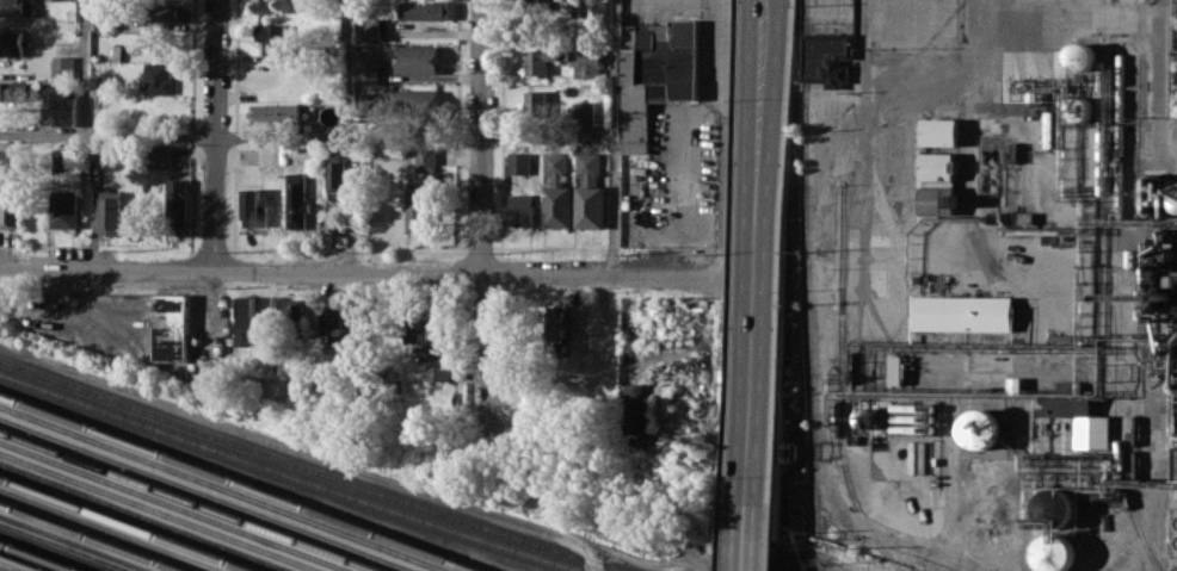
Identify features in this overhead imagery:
building: (535, 0)
building: (12, 7)
building: (29, 7)
road: (876, 8)
building: (425, 10)
building: (593, 10)
building: (99, 17)
building: (366, 29)
building: (272, 38)
building: (11, 43)
building: (1079, 56)
building: (821, 57)
building: (417, 58)
building: (660, 58)
building: (541, 60)
building: (586, 63)
building: (366, 64)
building: (62, 67)
road: (82, 68)
road: (347, 68)
building: (158, 77)
building: (14, 89)
building: (370, 100)
building: (415, 100)
building: (535, 100)
building: (60, 106)
road: (759, 107)
building: (580, 111)
building: (276, 113)
building: (937, 131)
road: (214, 135)
road: (480, 136)
road: (307, 137)
road: (614, 138)
road: (722, 139)
building: (1173, 141)
building: (161, 155)
building: (4, 159)
building: (63, 159)
building: (517, 162)
building: (935, 166)
building: (334, 176)
building: (295, 191)
building: (555, 192)
building: (587, 192)
railway: (1117, 197)
building: (932, 198)
building: (178, 203)
building: (10, 204)
building: (252, 206)
building: (419, 207)
building: (64, 209)
building: (518, 209)
building: (110, 212)
road: (362, 272)
railway: (1136, 287)
railway: (1110, 290)
building: (277, 304)
building: (295, 305)
building: (957, 311)
building: (356, 315)
building: (245, 322)
building: (556, 325)
building: (171, 327)
building: (413, 328)
building: (333, 329)
building: (438, 343)
railway: (839, 386)
road: (756, 392)
building: (1080, 405)
building: (637, 422)
building: (980, 429)
building: (1091, 430)
railway: (312, 468)
railway: (292, 474)
railway: (240, 482)
railway: (218, 490)
railway: (207, 494)
railway: (193, 499)
railway: (179, 505)
railway: (161, 511)
railway: (147, 516)
railway: (130, 522)
railway: (111, 529)
railway: (93, 536)
railway: (74, 542)
railway: (58, 548)
railway: (39, 556)
railway: (21, 563)
railway: (2, 569)

